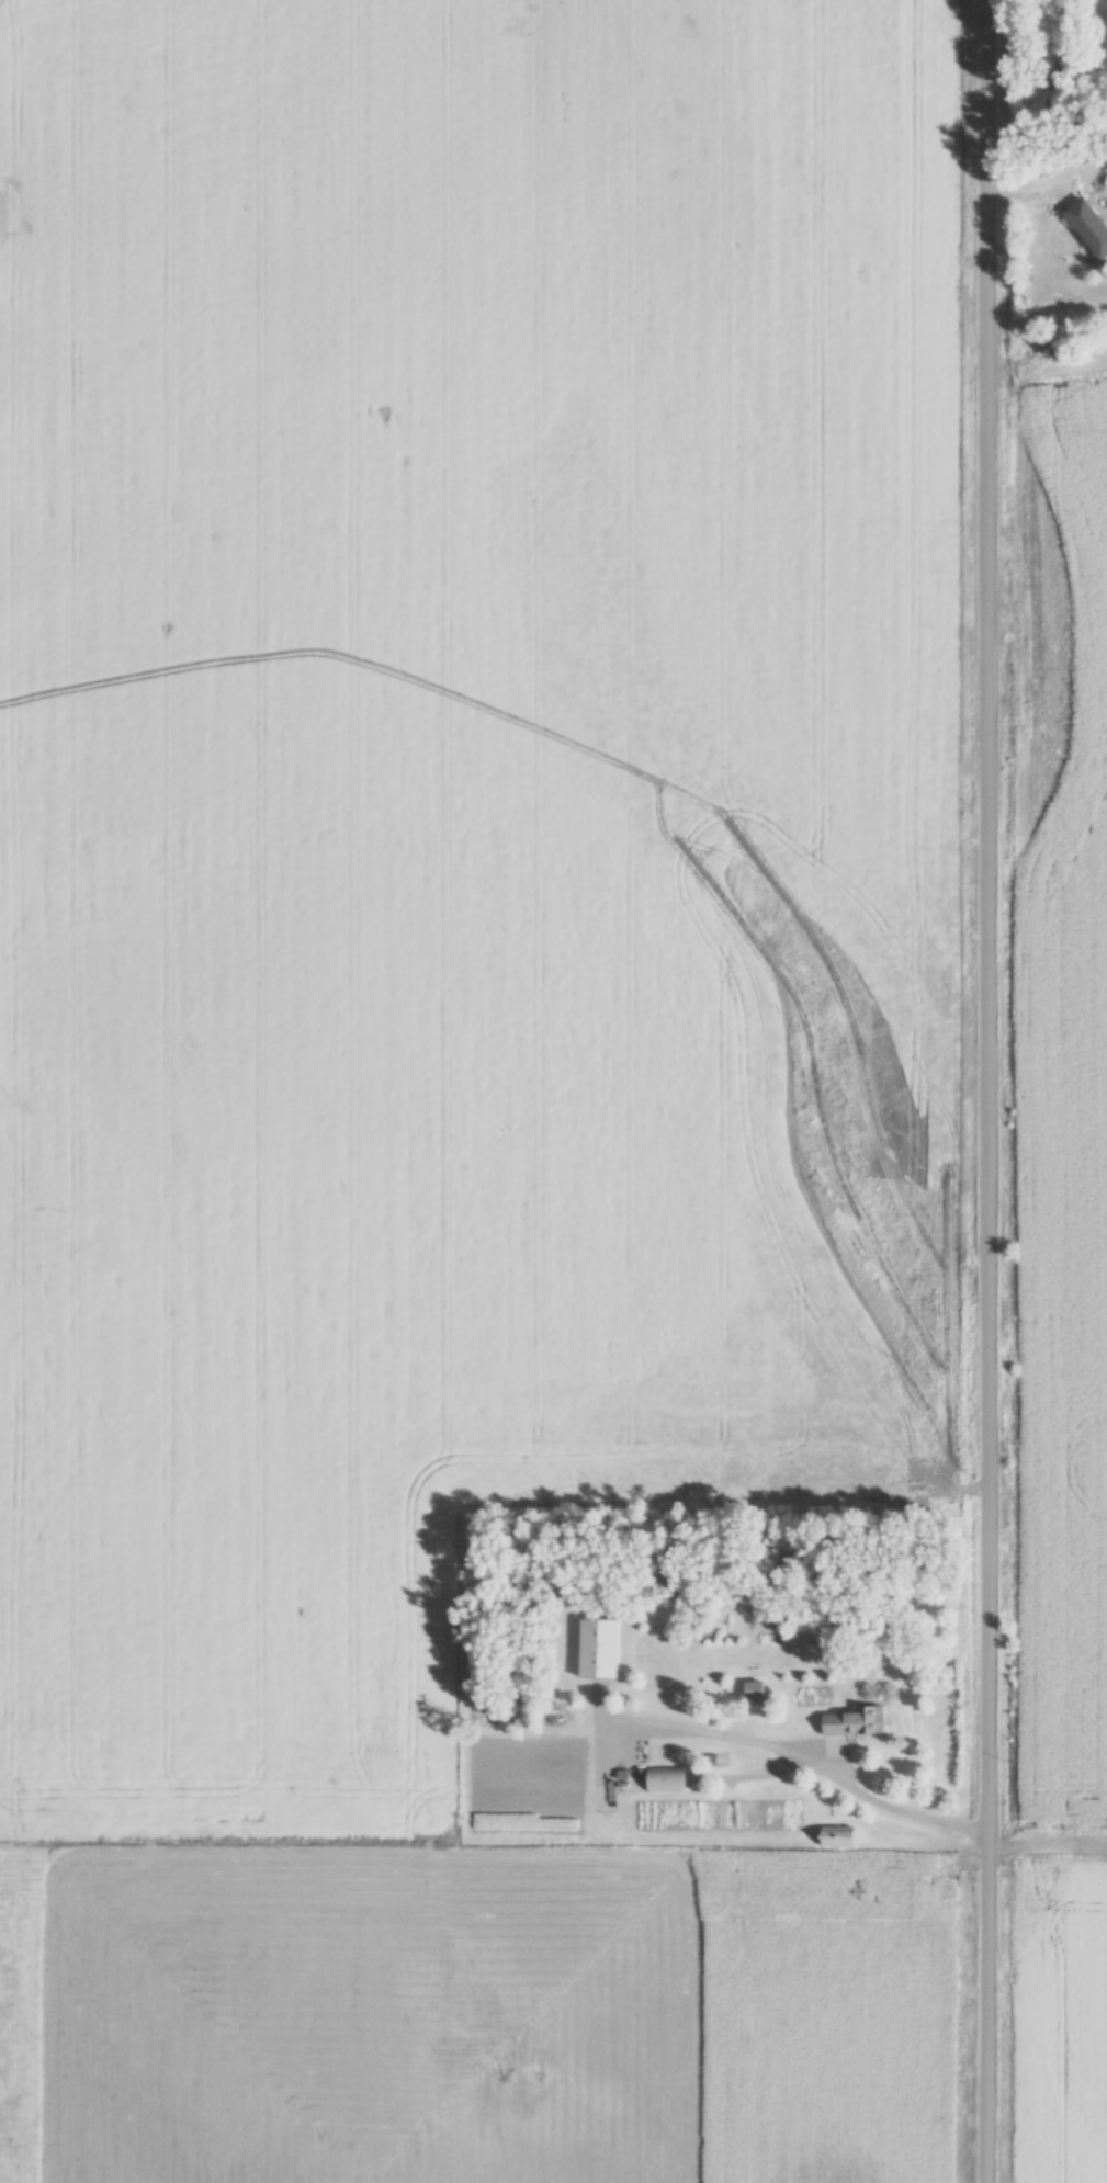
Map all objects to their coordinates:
building: (1091, 227)
road: (987, 1091)
building: (600, 1649)
building: (757, 1689)
building: (856, 1722)
road: (804, 1753)
building: (840, 1837)

